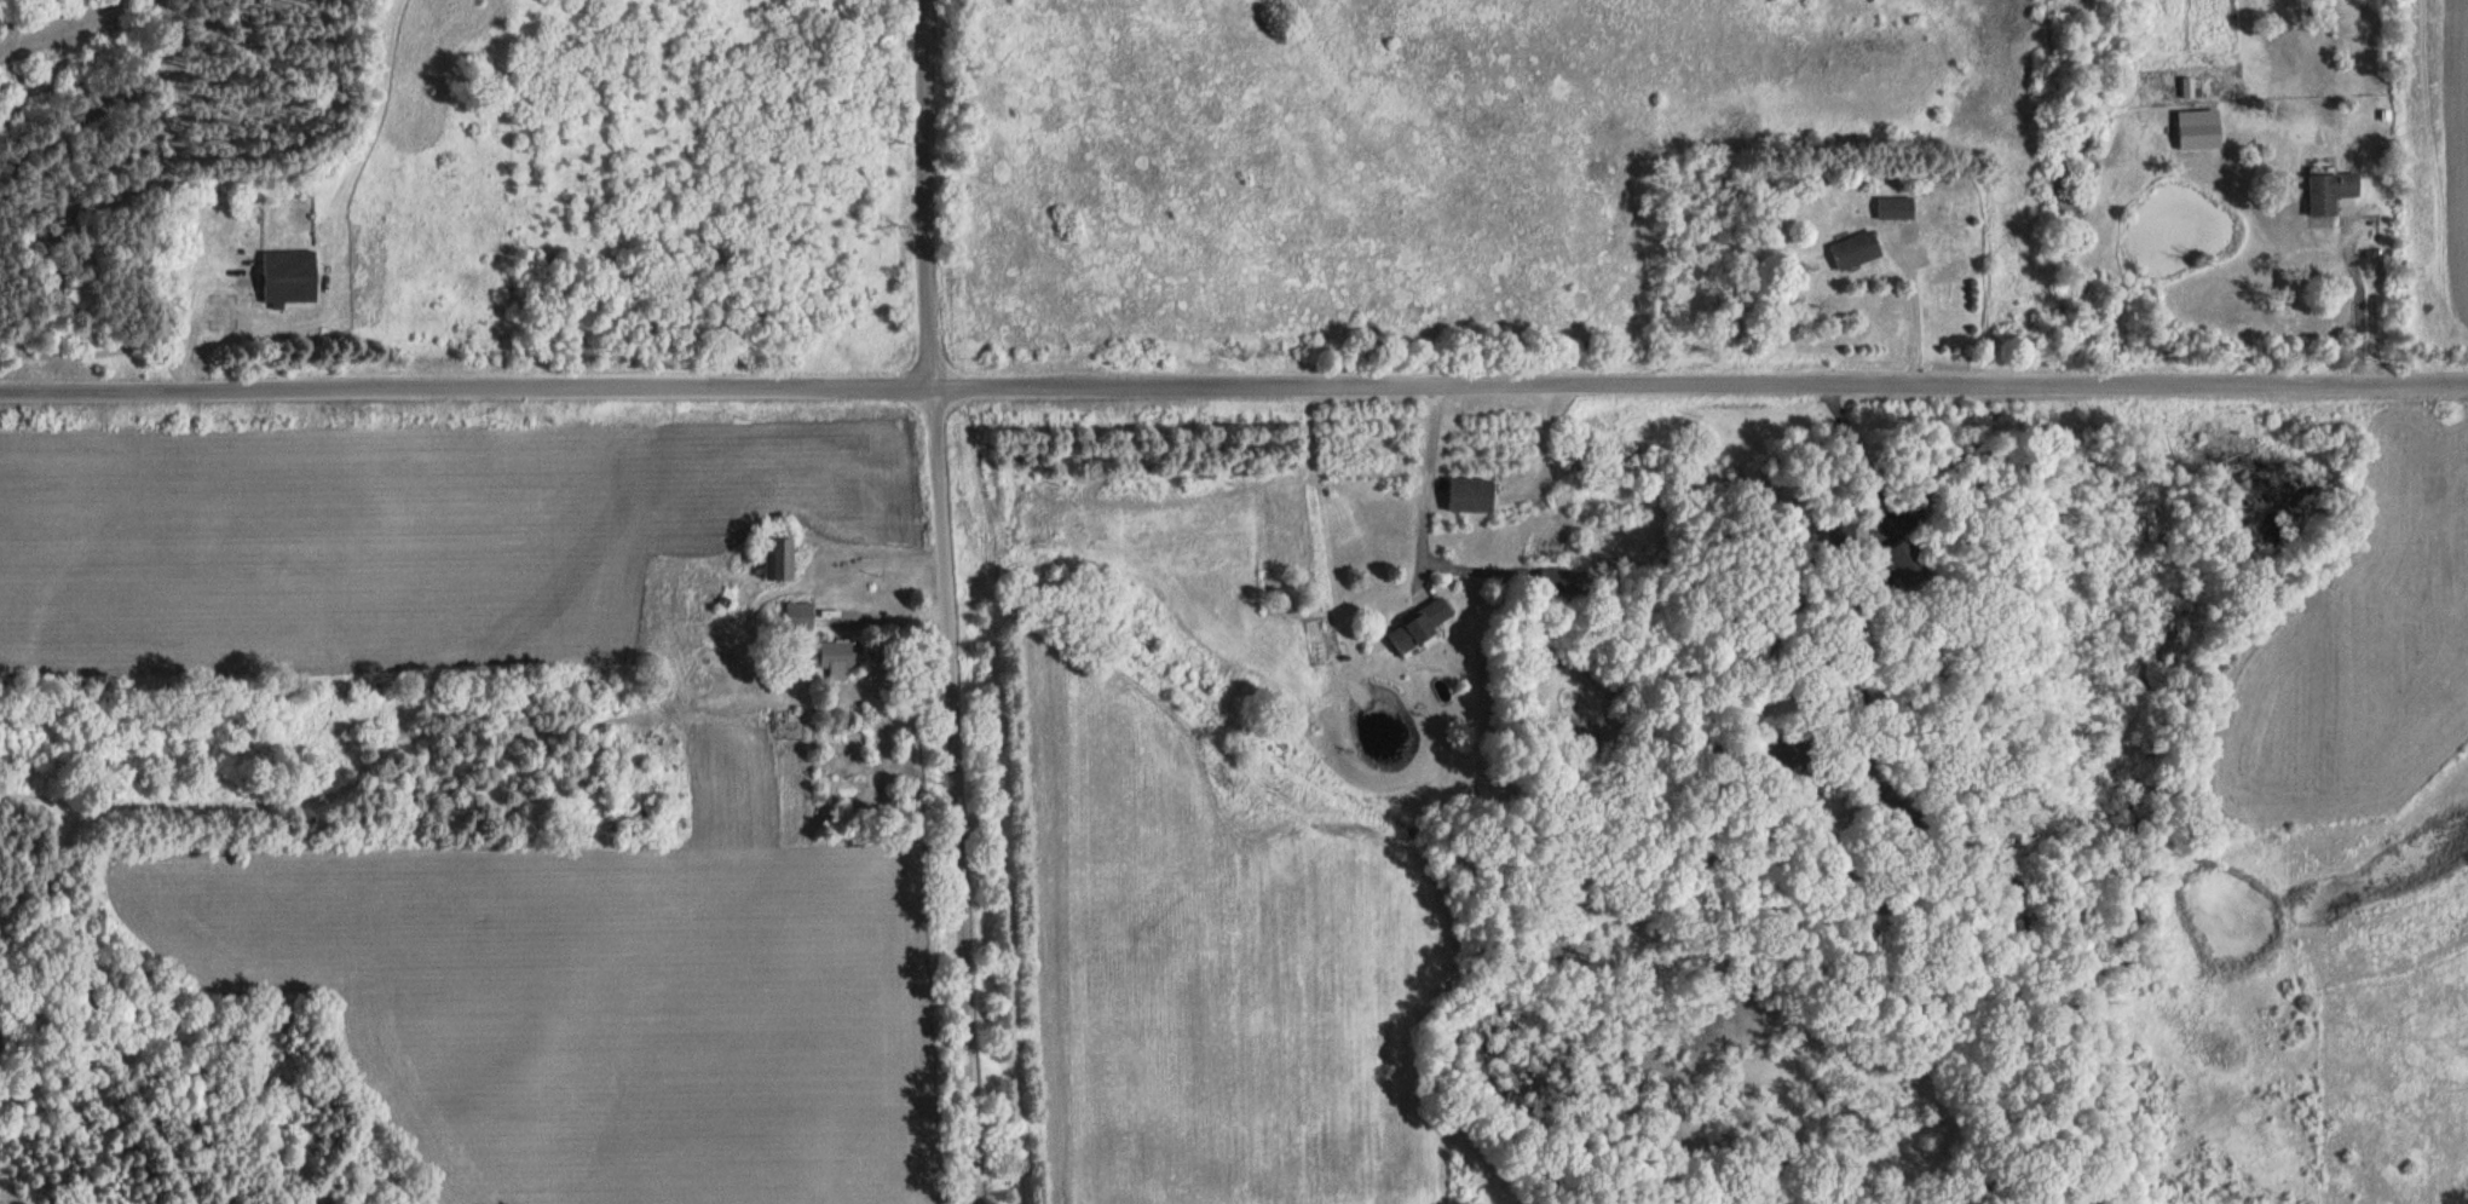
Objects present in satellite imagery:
building: (2203, 129)
building: (2334, 195)
building: (1896, 207)
building: (1857, 249)
building: (290, 277)
road: (2359, 290)
road: (1234, 387)
road: (1864, 456)
road: (1429, 476)
building: (1471, 495)
building: (1846, 530)
building: (783, 557)
road: (946, 601)
building: (803, 613)
building: (1422, 626)
building: (842, 655)

